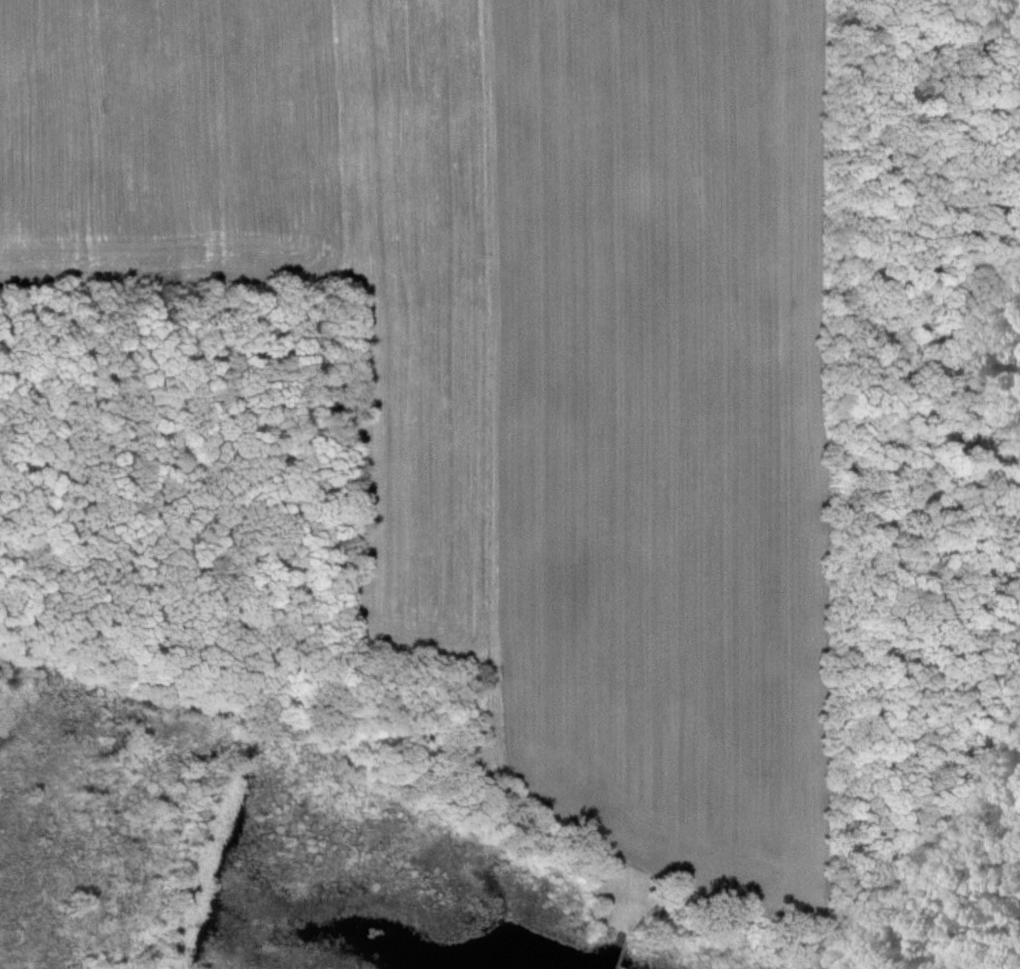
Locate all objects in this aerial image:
pier: (610, 953)

